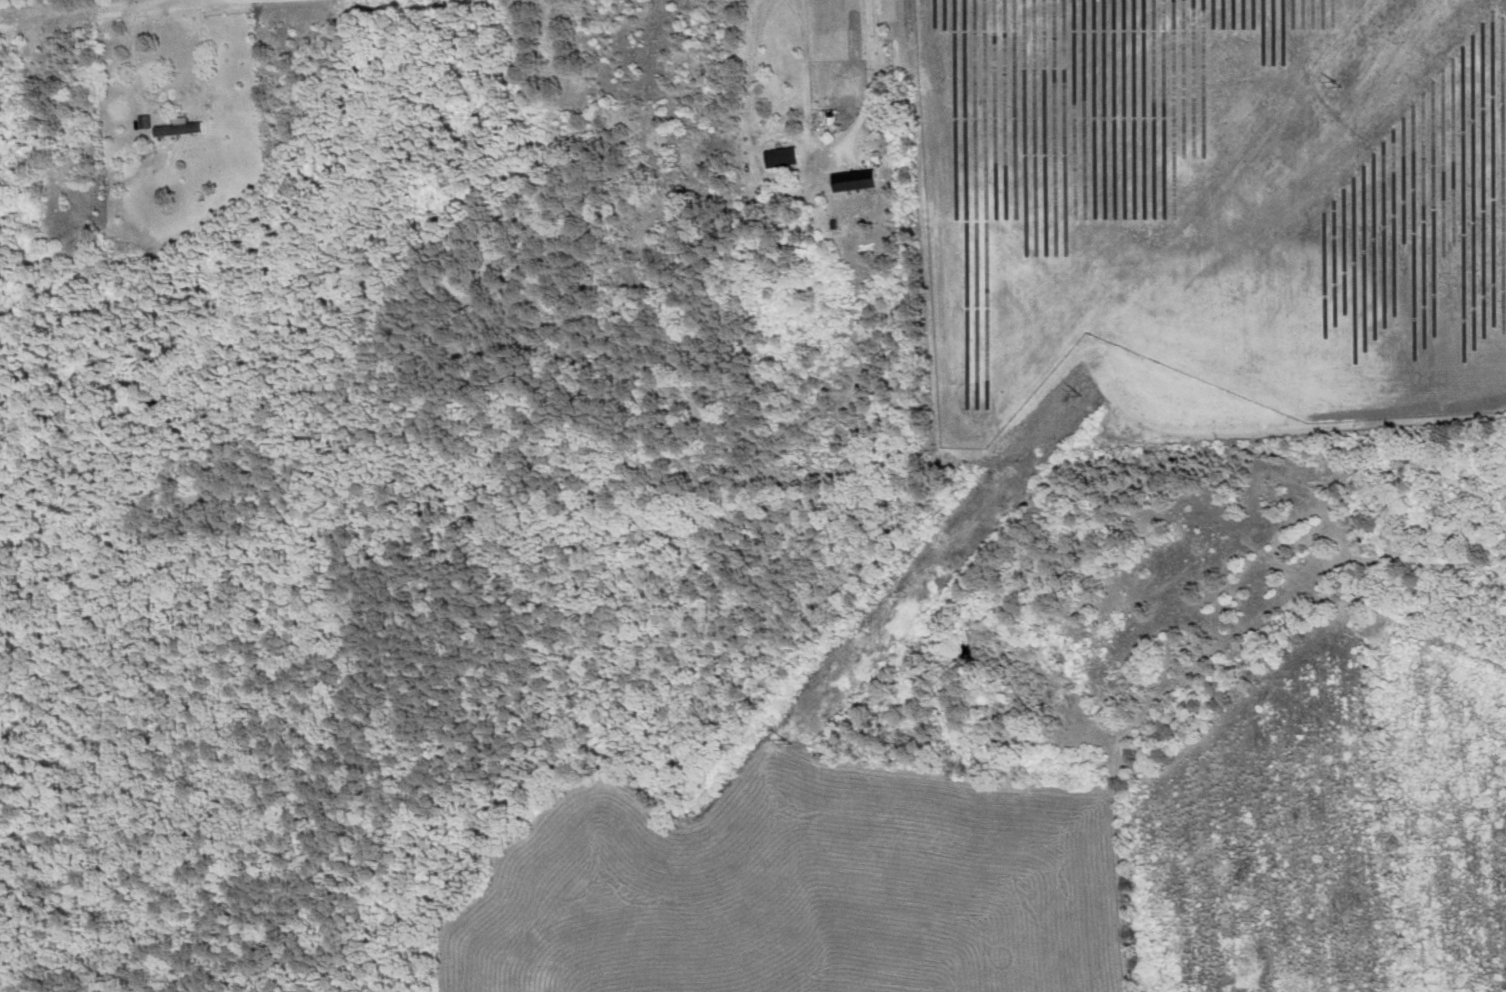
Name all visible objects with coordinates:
road: (100, 7)
power tower: (1336, 81)
building: (175, 129)
building: (779, 157)
building: (854, 185)
power tower: (1077, 385)
building: (1459, 536)
power tower: (785, 740)

